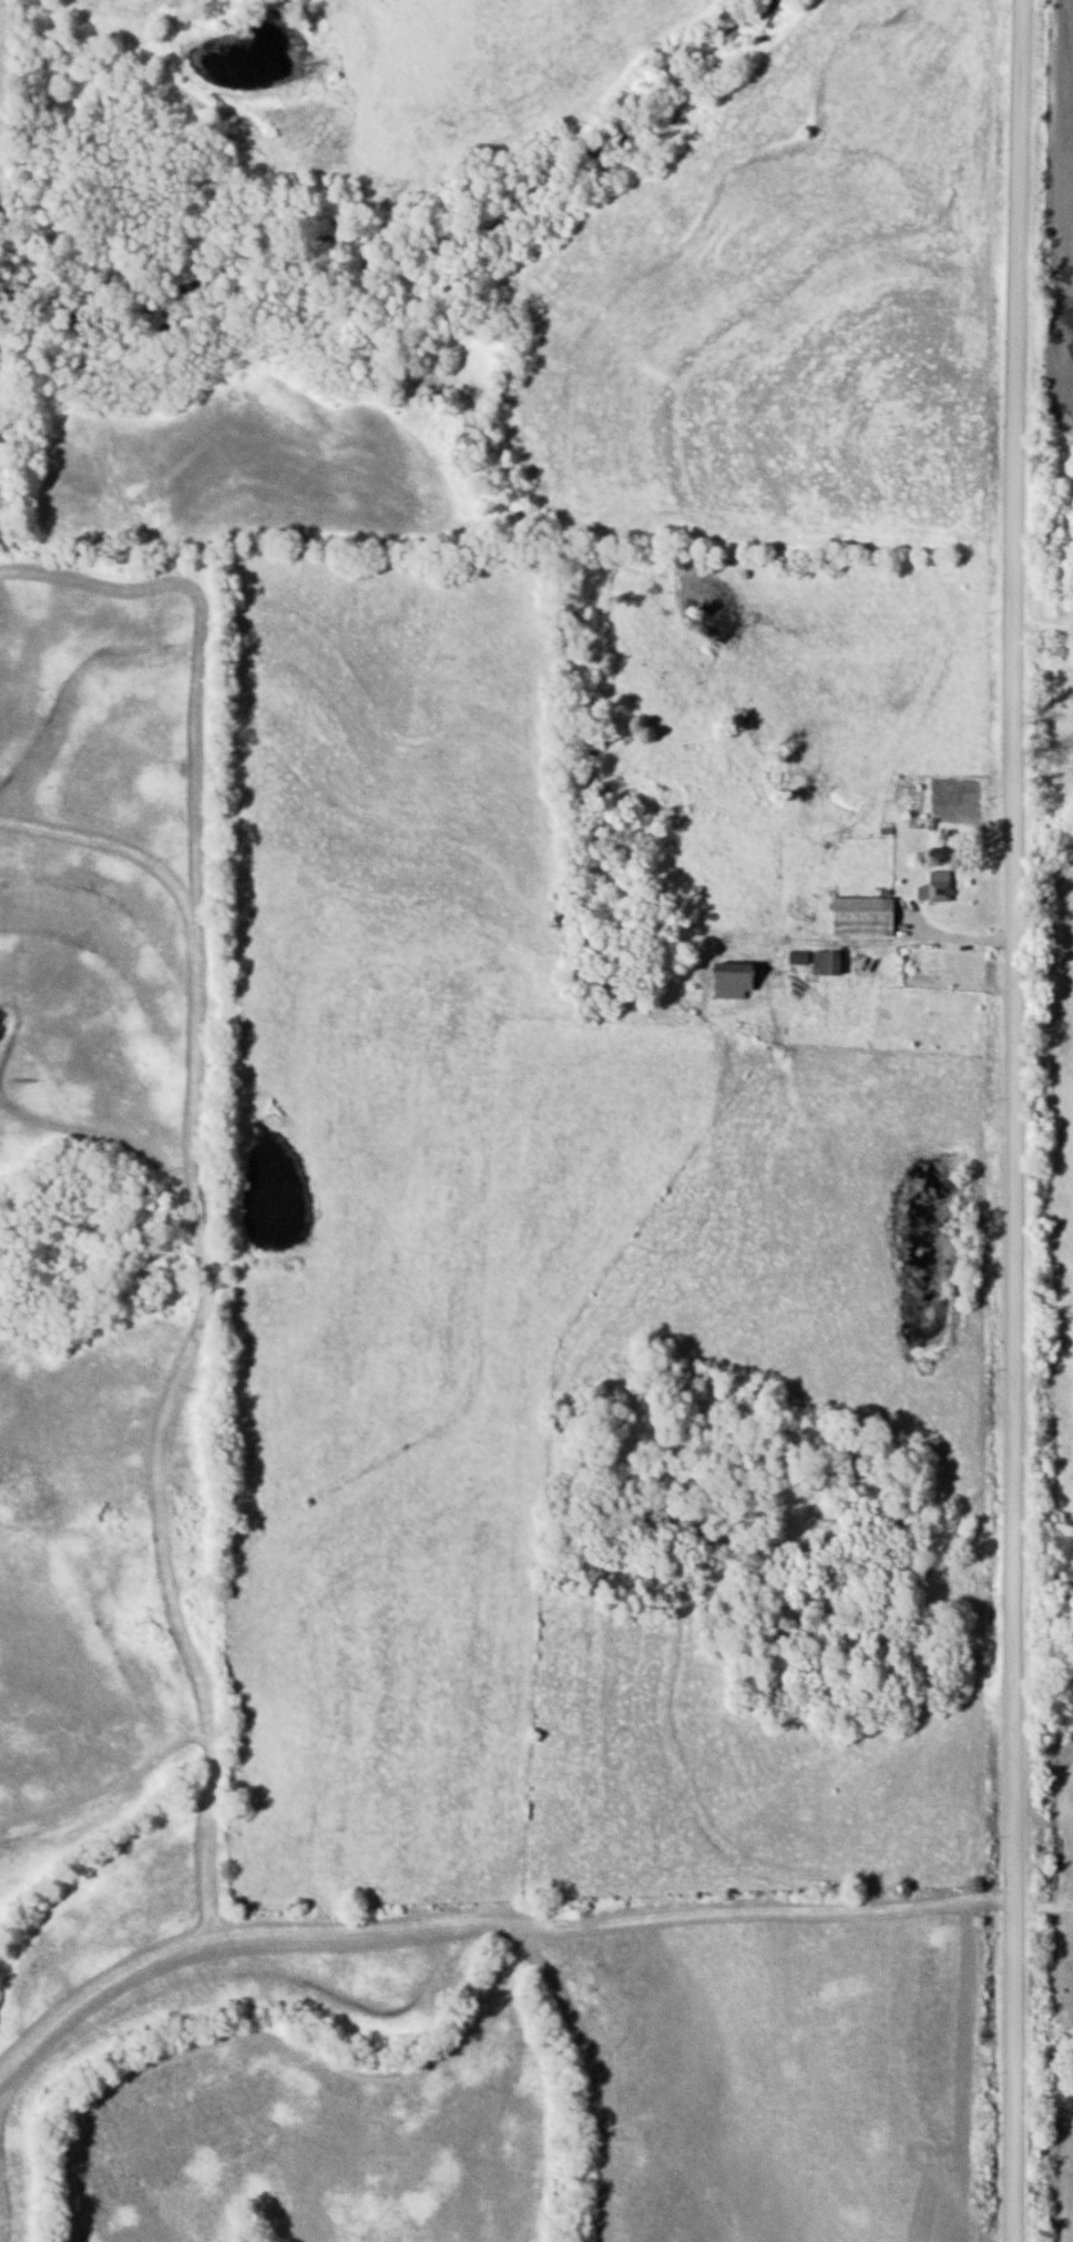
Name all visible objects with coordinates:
building: (911, 794)
building: (931, 821)
building: (933, 885)
building: (860, 915)
building: (796, 956)
building: (824, 962)
building: (727, 978)
road: (1014, 1120)

